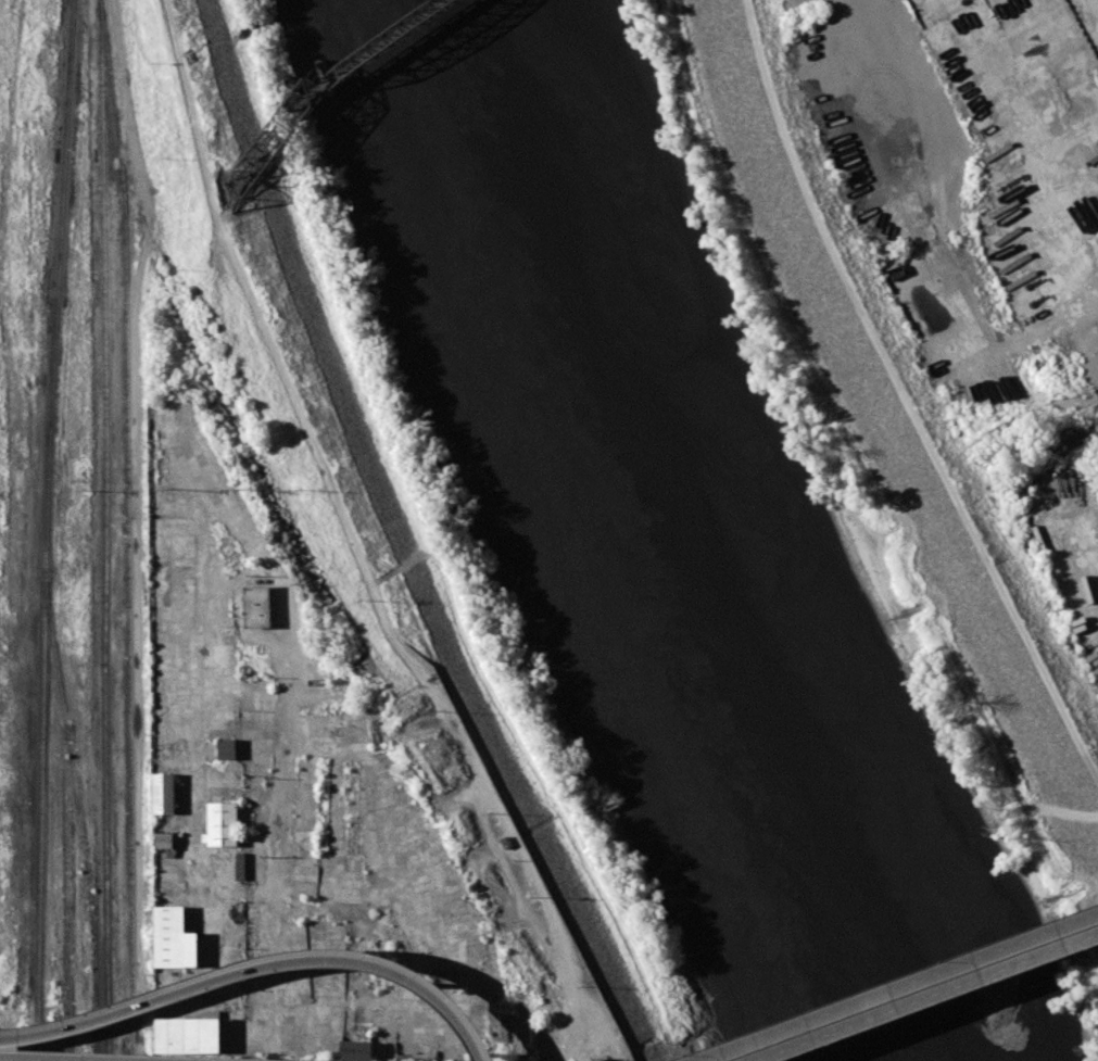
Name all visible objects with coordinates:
railway: (324, 89)
railway: (11, 110)
road: (128, 111)
railway: (185, 326)
road: (913, 390)
road: (346, 520)
railway: (128, 529)
railway: (46, 530)
railway: (105, 530)
river: (657, 546)
railway: (333, 601)
building: (258, 606)
building: (228, 748)
building: (164, 793)
railway: (79, 816)
building: (223, 824)
building: (245, 835)
road: (278, 836)
building: (164, 839)
building: (240, 866)
railway: (68, 892)
building: (239, 912)
road: (1095, 930)
building: (175, 938)
road: (388, 969)
road: (910, 989)
road: (916, 996)
road: (936, 1000)
road: (125, 1011)
building: (189, 1035)
road: (577, 1039)
building: (356, 1046)
road: (9, 1060)
road: (286, 1060)

